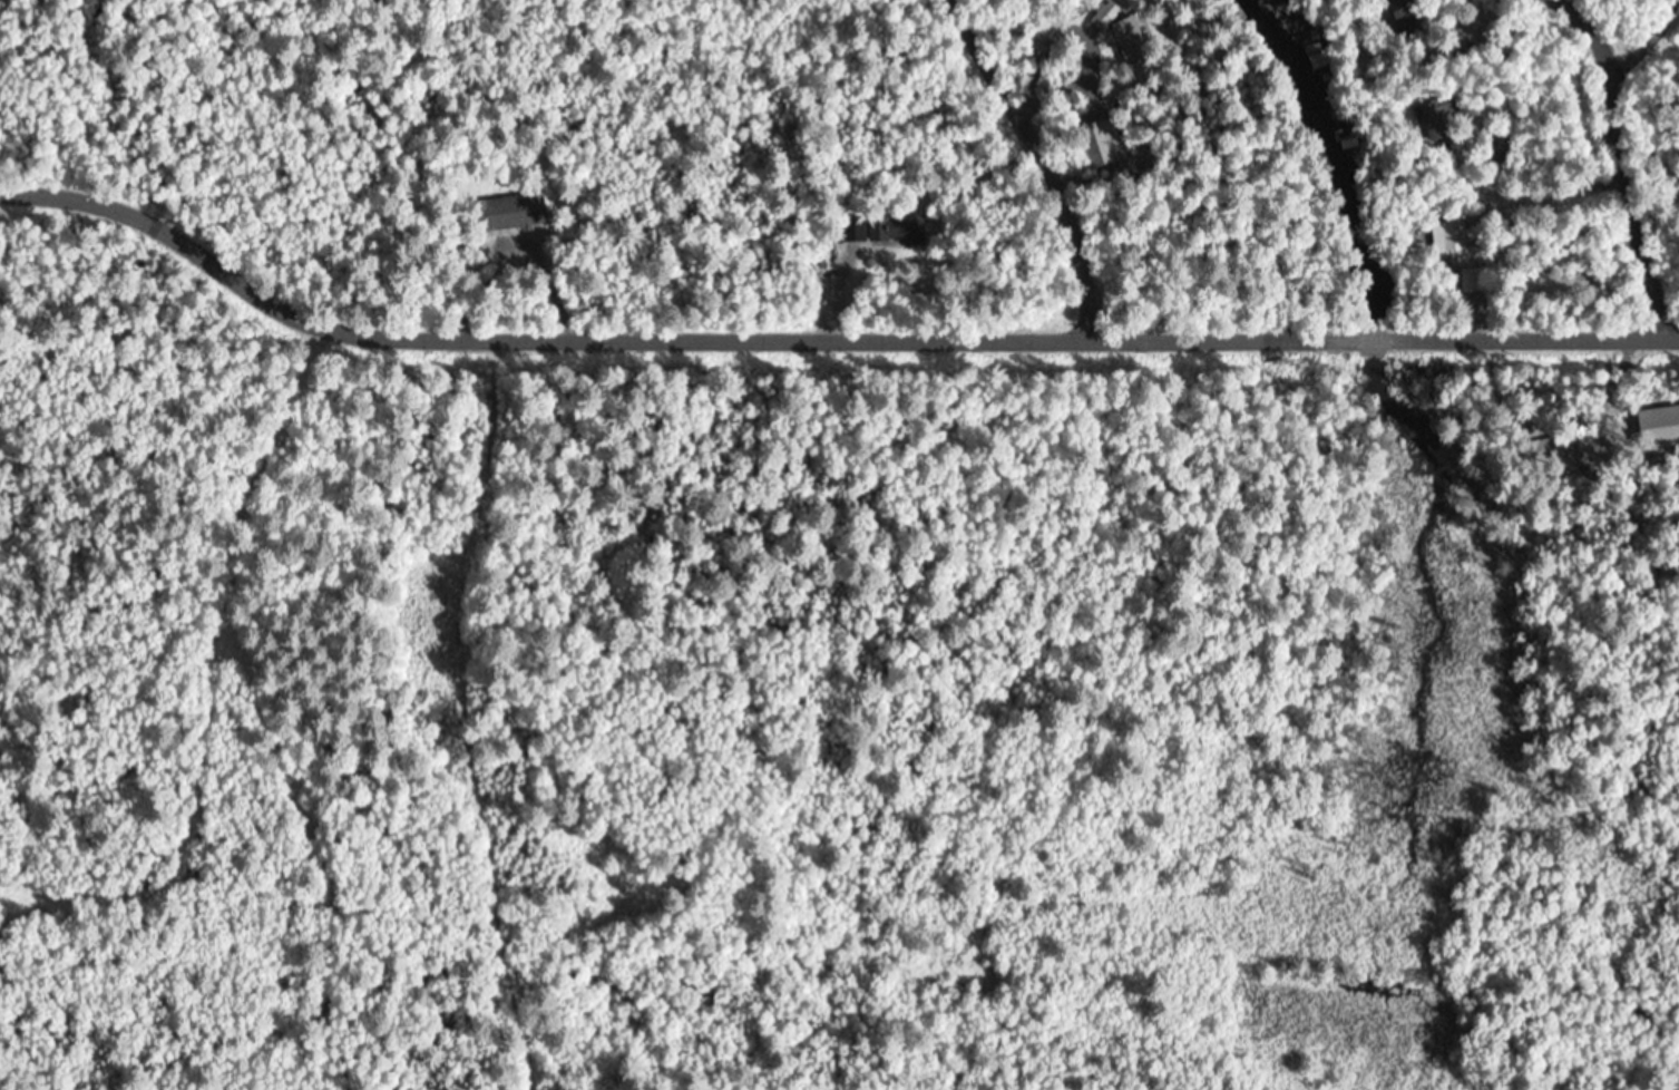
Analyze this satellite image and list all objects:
building: (1103, 14)
road: (1621, 32)
building: (1129, 39)
building: (1434, 118)
road: (1027, 164)
road: (1600, 166)
building: (510, 212)
building: (880, 228)
building: (1451, 234)
road: (818, 340)

